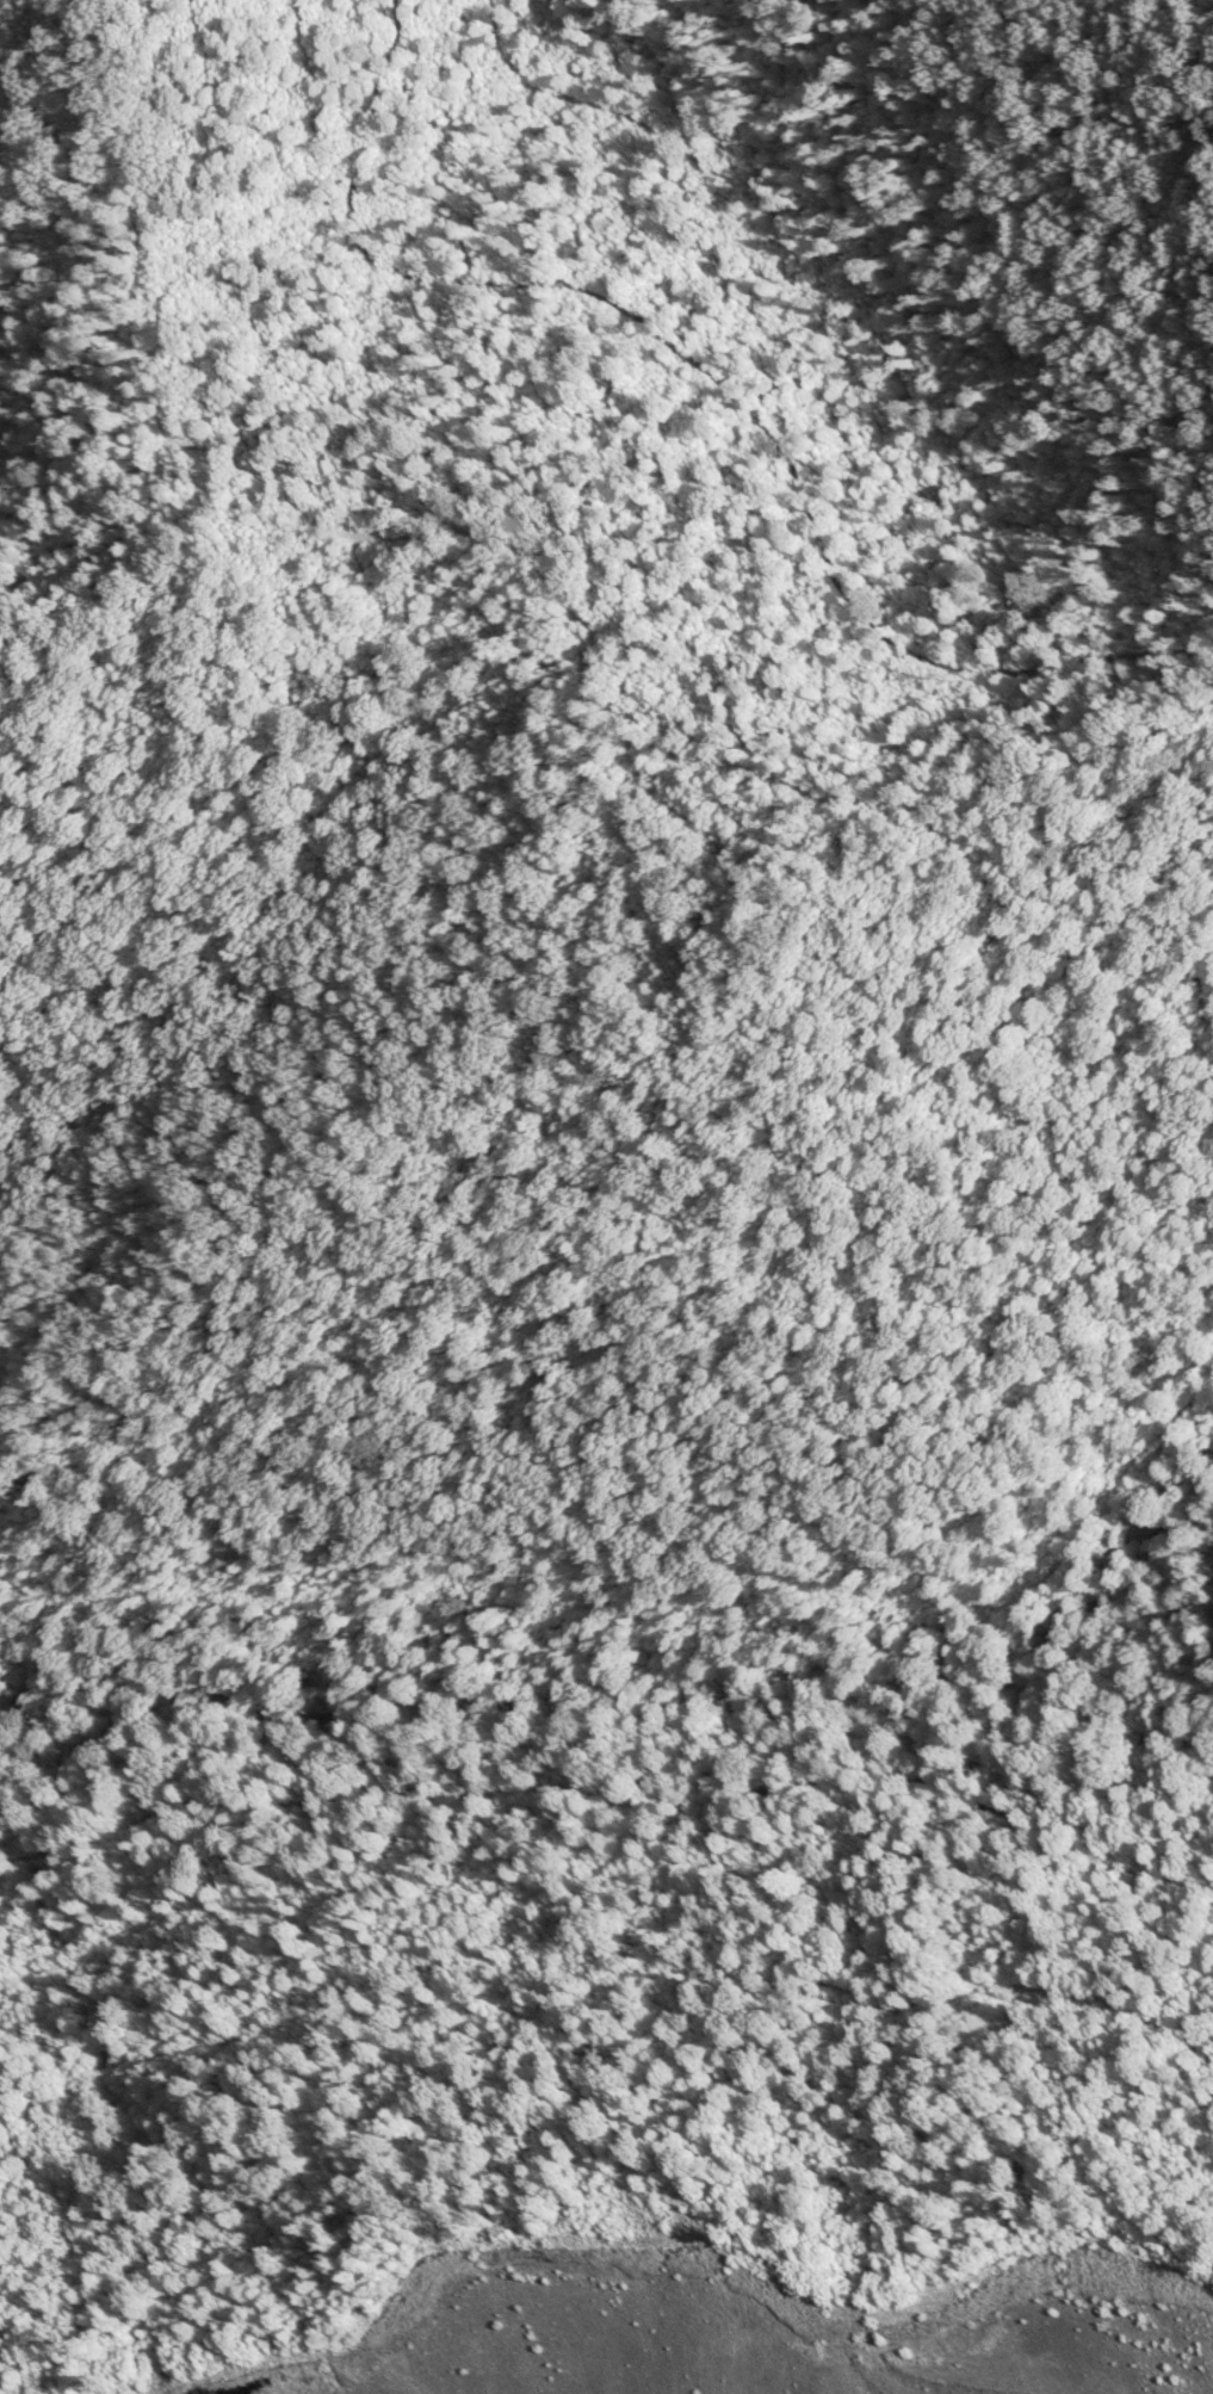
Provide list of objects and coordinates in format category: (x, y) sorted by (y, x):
quarry: (729, 2313)

